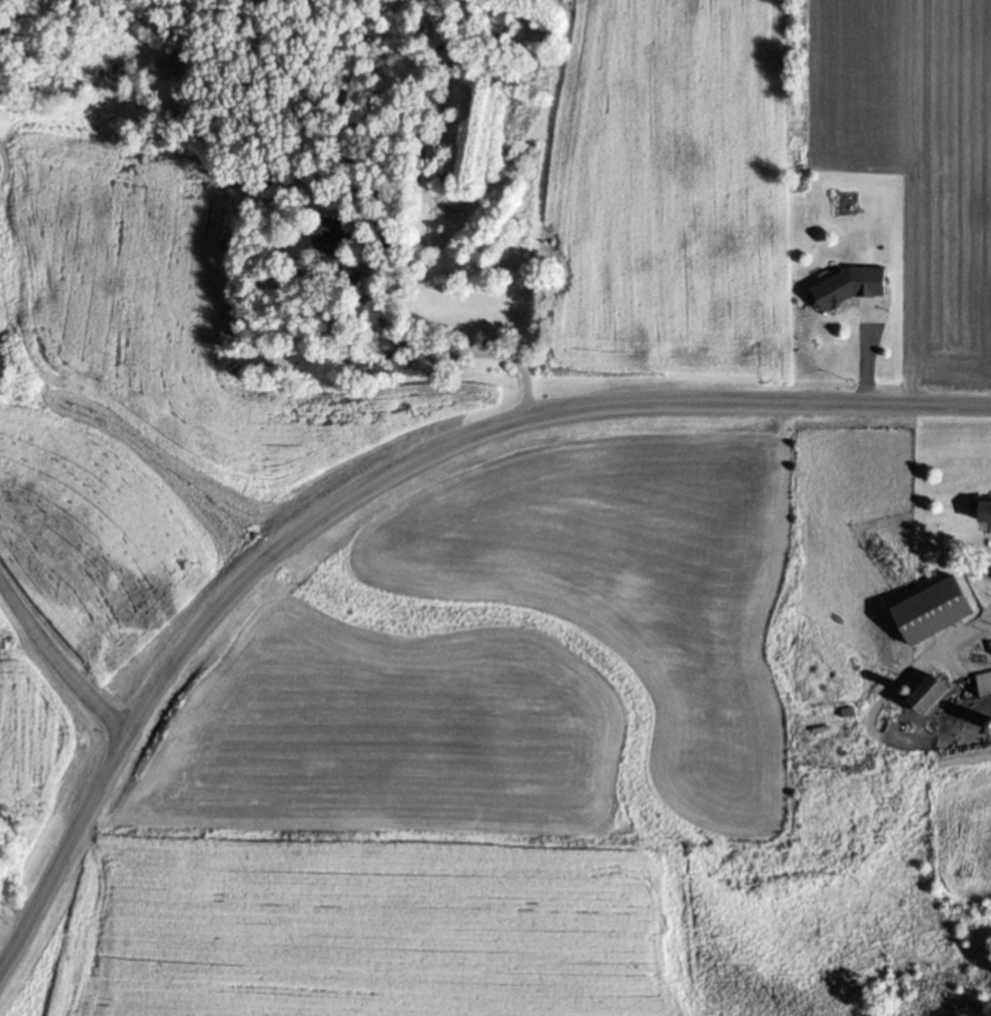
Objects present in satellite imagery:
building: (330, 241)
building: (393, 241)
building: (831, 294)
road: (465, 354)
crop: (145, 387)
road: (376, 479)
building: (985, 507)
building: (942, 610)
road: (965, 634)
building: (989, 643)
road: (58, 663)
building: (984, 683)
building: (928, 688)
building: (940, 694)
building: (989, 724)
crop: (28, 731)
road: (981, 753)

